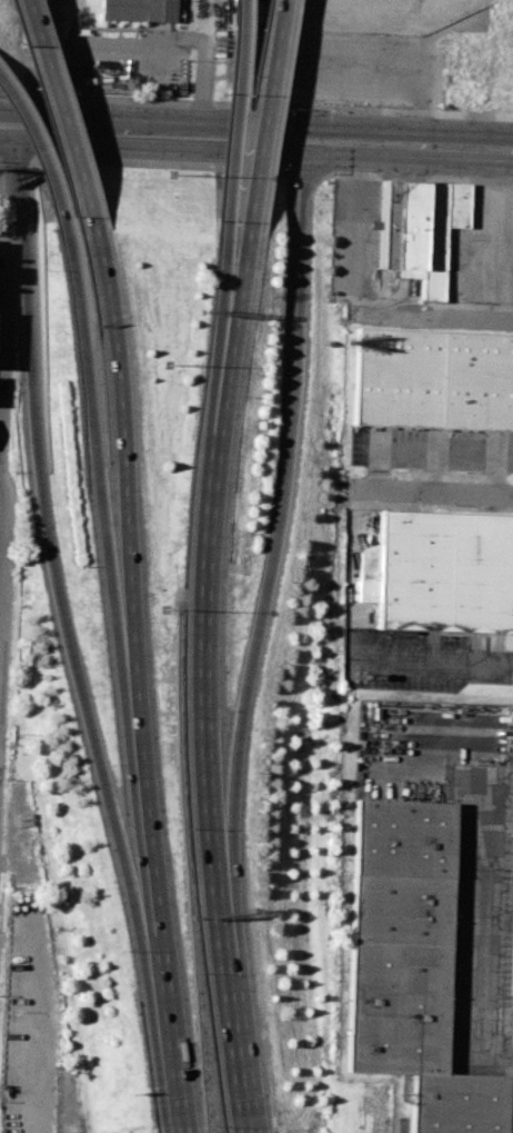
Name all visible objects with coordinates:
building: (134, 10)
road: (199, 42)
road: (256, 106)
road: (56, 109)
road: (233, 111)
road: (263, 111)
road: (8, 125)
road: (160, 132)
traffic signals: (305, 142)
road: (37, 146)
road: (409, 147)
road: (14, 150)
road: (17, 157)
road: (161, 165)
road: (305, 173)
road: (419, 177)
building: (418, 231)
road: (222, 291)
road: (233, 292)
road: (360, 297)
road: (9, 324)
building: (433, 381)
road: (118, 454)
road: (92, 455)
road: (2, 473)
road: (434, 491)
road: (275, 505)
road: (2, 545)
building: (439, 573)
road: (51, 580)
road: (199, 612)
parking lot: (419, 660)
road: (432, 660)
road: (144, 833)
road: (481, 925)
building: (406, 960)
road: (224, 996)
road: (165, 1053)
road: (245, 1131)
road: (177, 1132)

